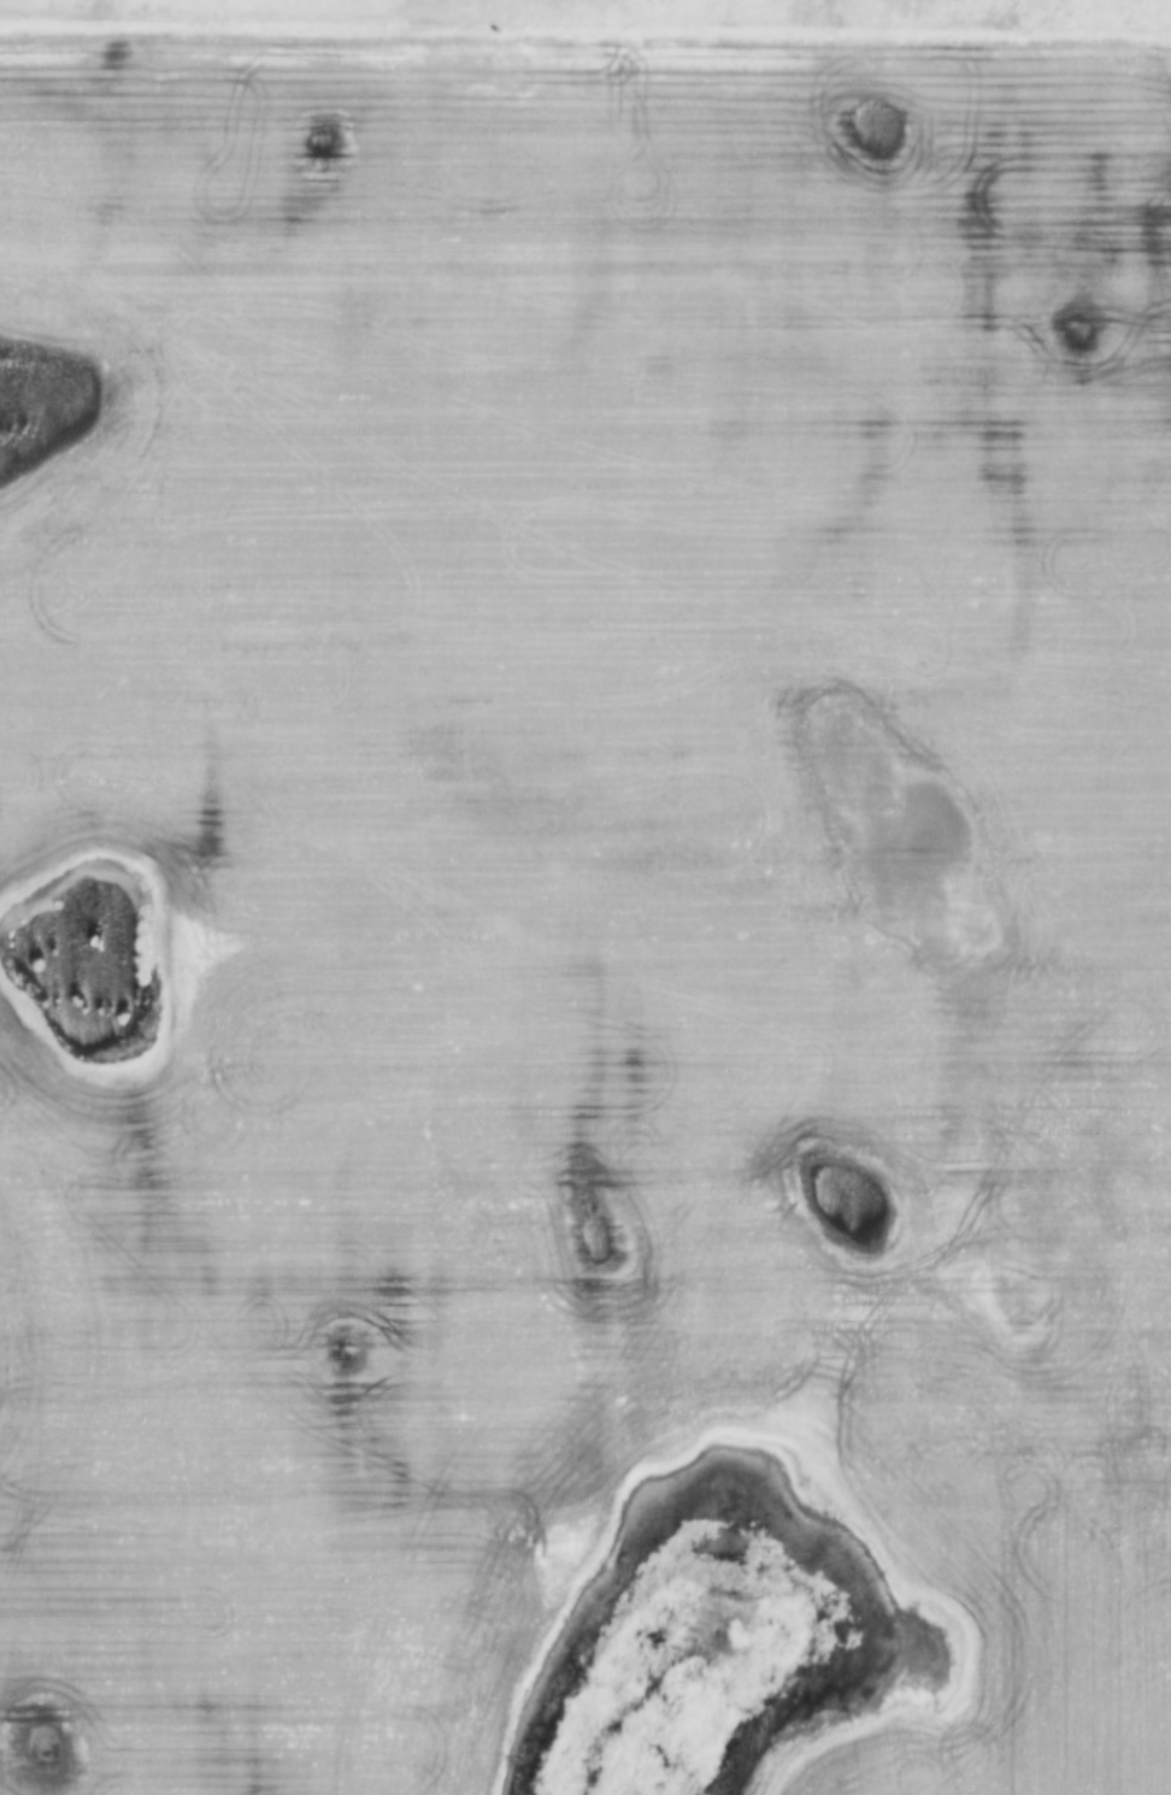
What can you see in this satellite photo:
road: (585, 37)

